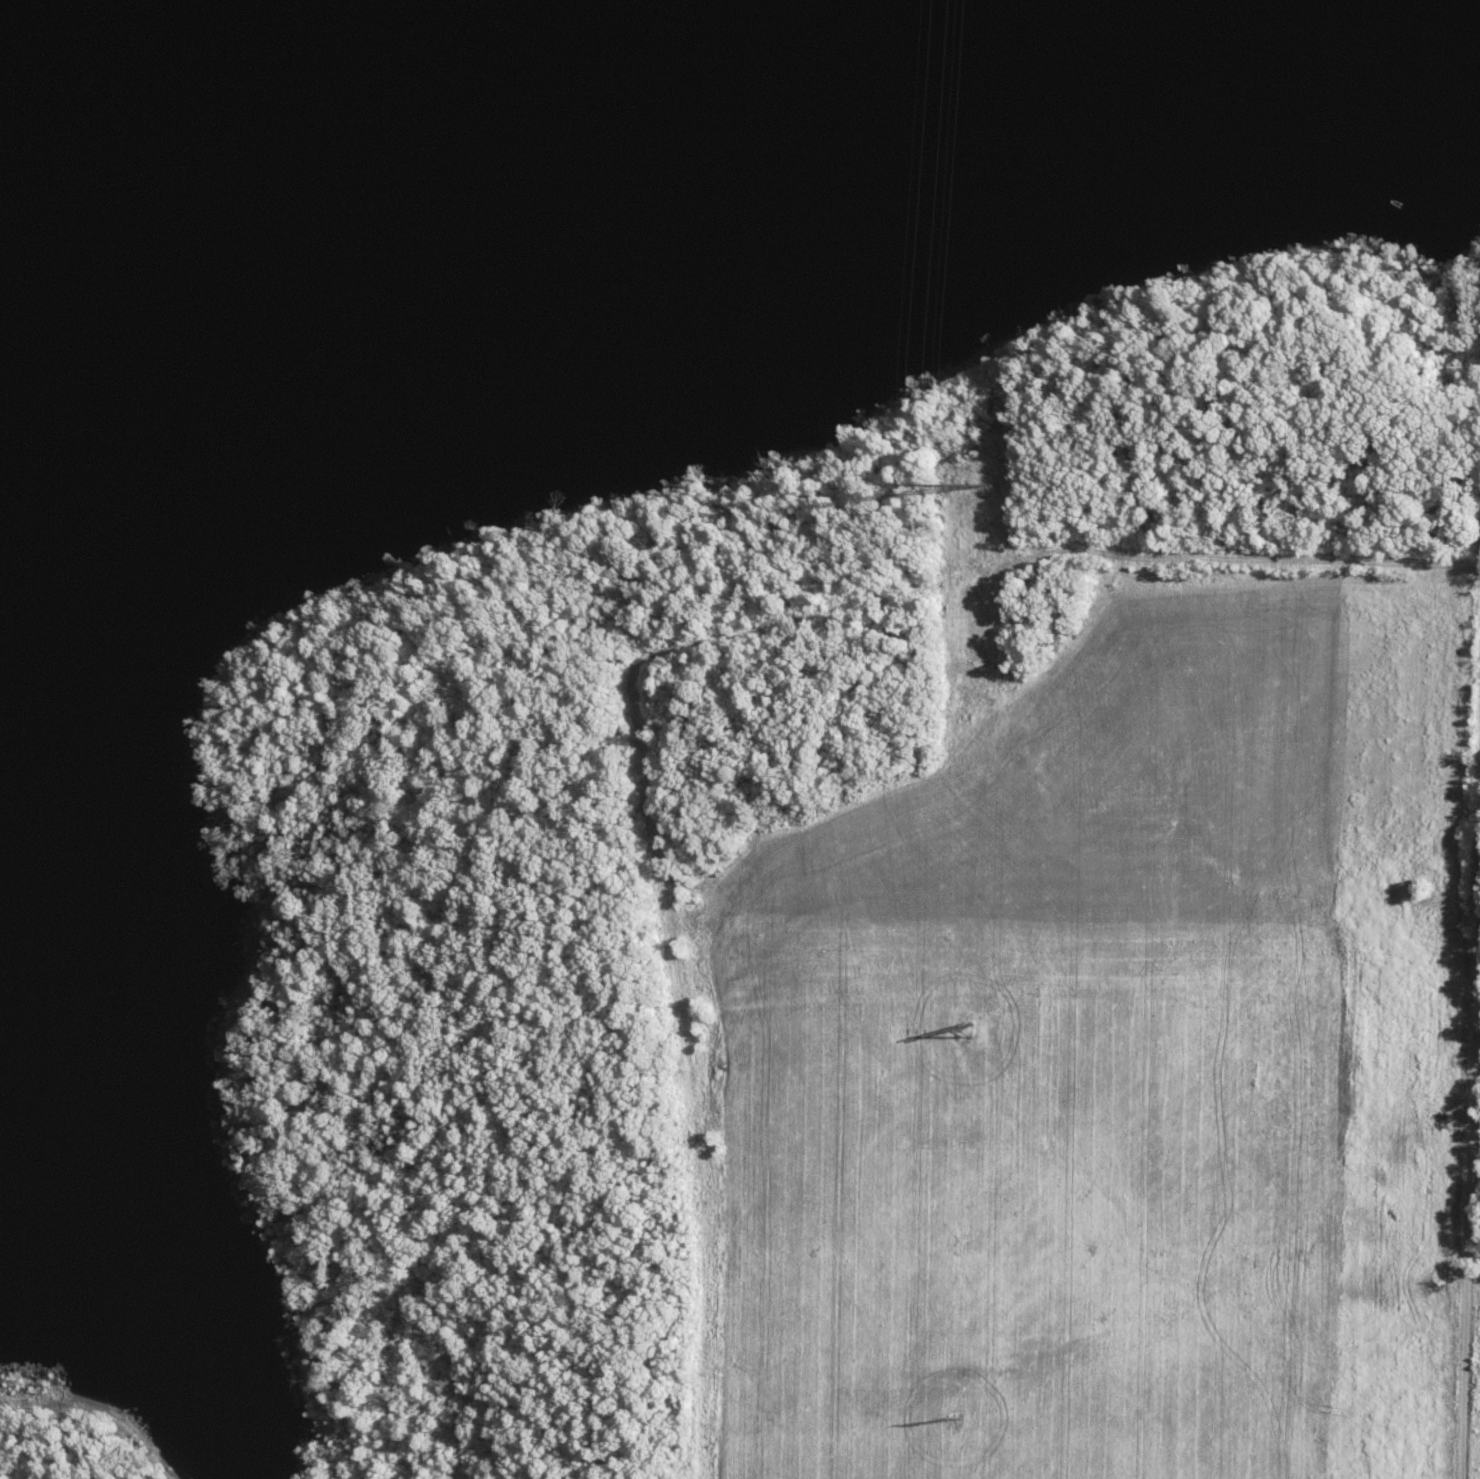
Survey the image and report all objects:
road: (1469, 1216)

